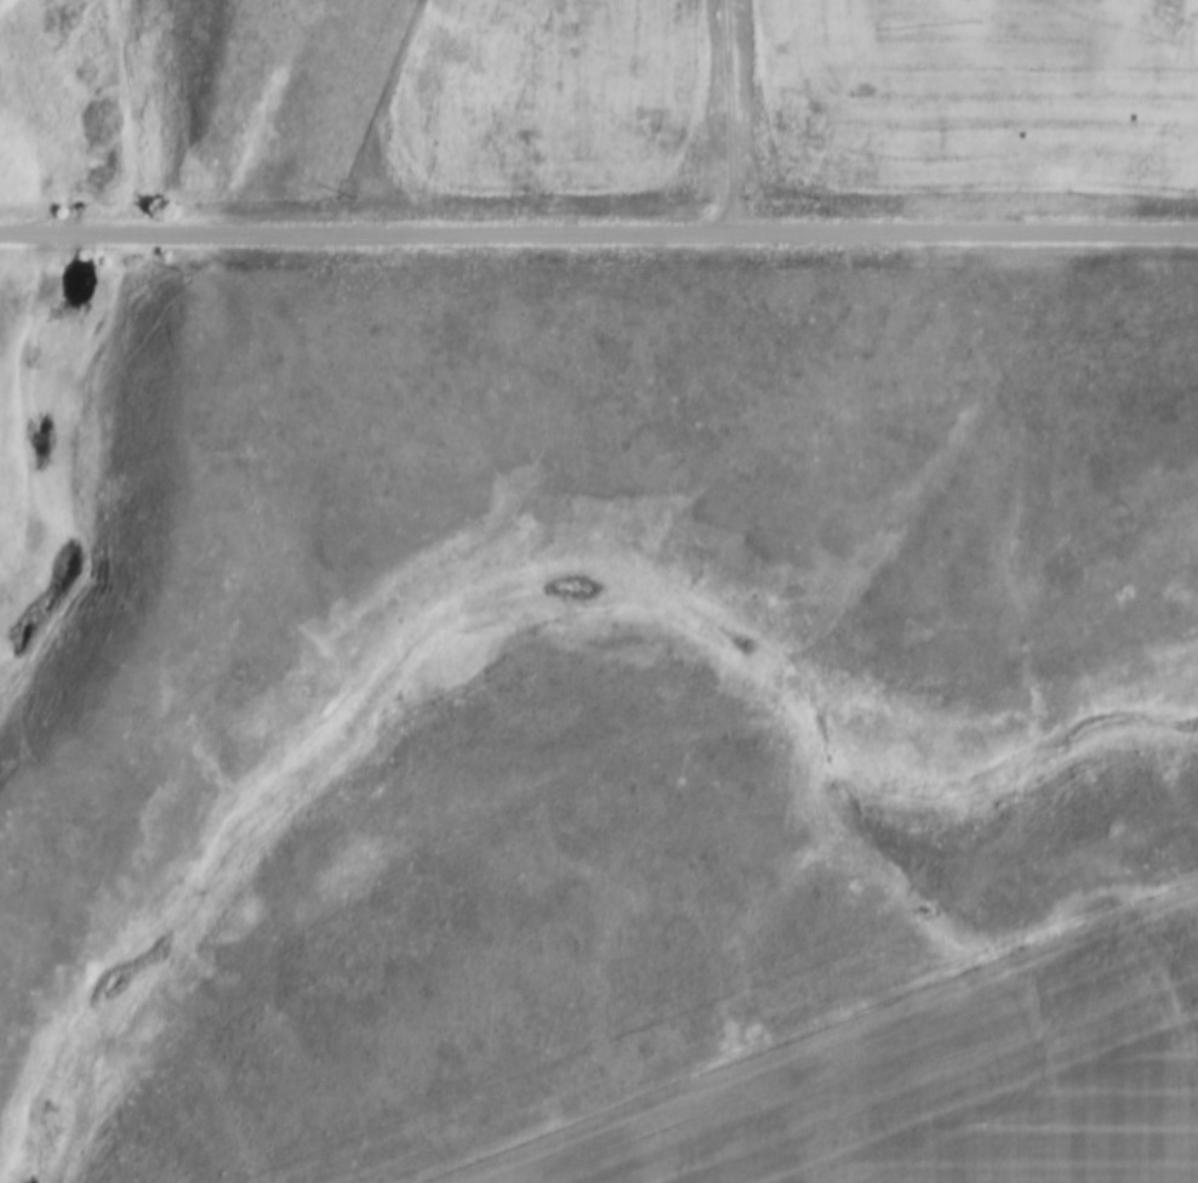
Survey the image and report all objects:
road: (736, 115)
road: (599, 231)

